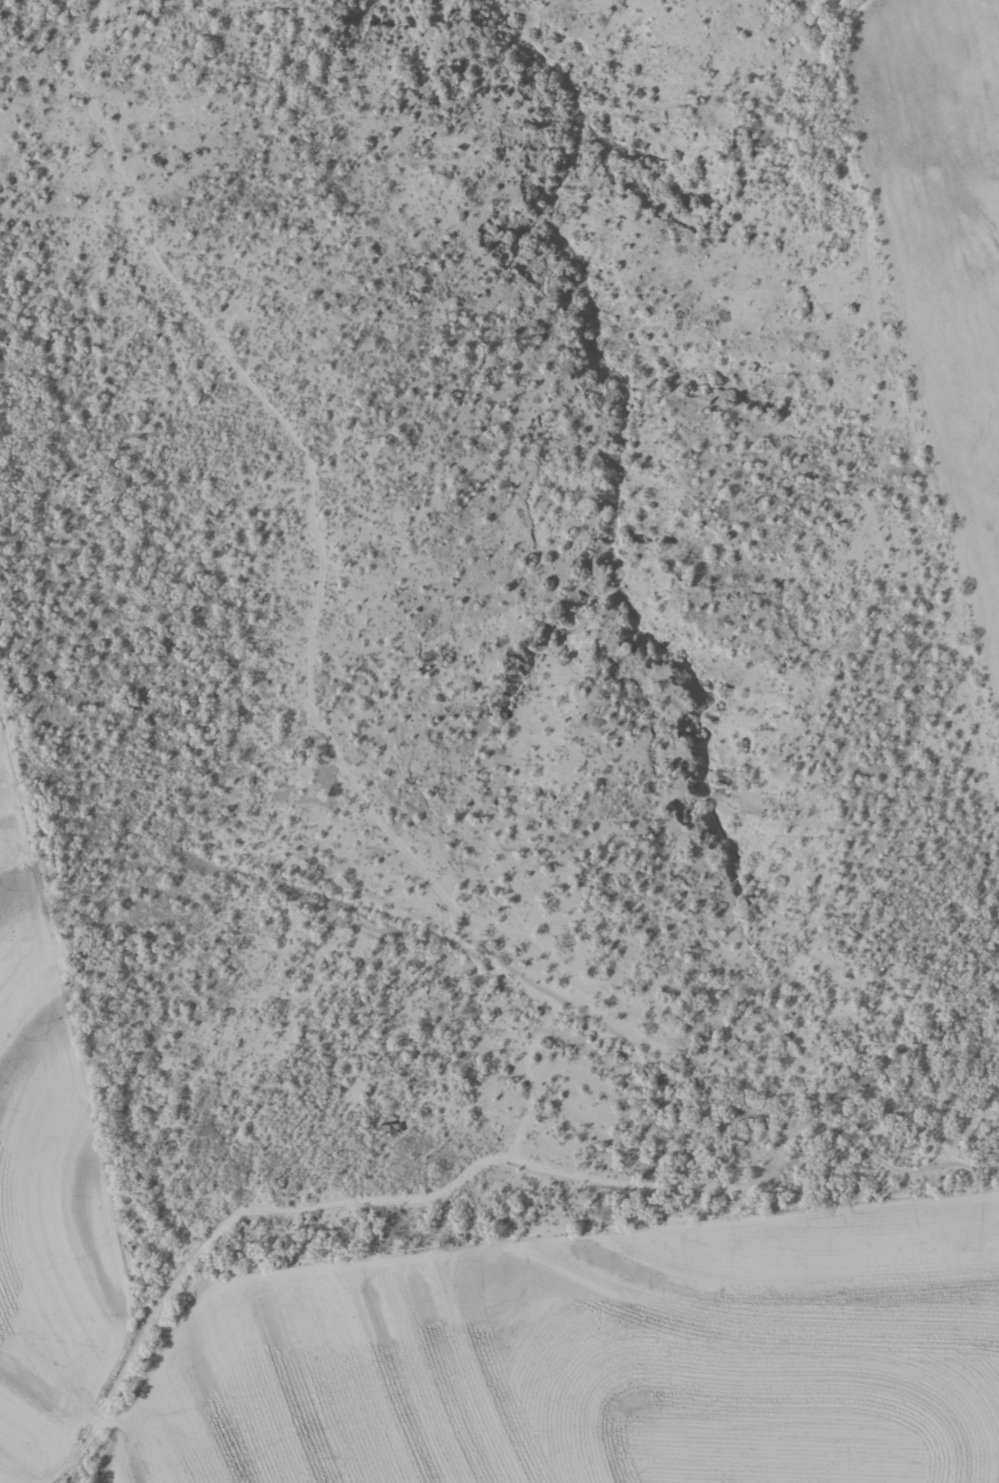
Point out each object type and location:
road: (233, 792)

